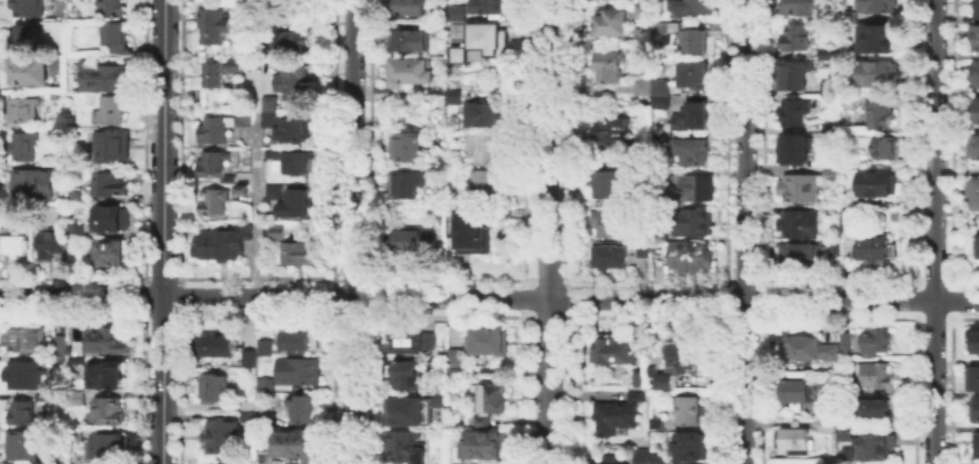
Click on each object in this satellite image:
building: (488, 7)
building: (696, 7)
building: (879, 7)
building: (32, 8)
building: (409, 8)
building: (806, 8)
building: (114, 9)
building: (647, 9)
building: (977, 10)
building: (459, 16)
building: (214, 24)
building: (613, 26)
building: (659, 26)
building: (674, 26)
building: (879, 37)
building: (661, 38)
building: (26, 39)
building: (289, 39)
building: (488, 39)
building: (976, 39)
building: (121, 40)
building: (798, 40)
building: (261, 42)
building: (410, 42)
building: (698, 43)
building: (829, 55)
building: (460, 56)
building: (220, 69)
building: (611, 69)
building: (975, 72)
building: (30, 73)
building: (414, 74)
building: (794, 76)
building: (878, 76)
building: (109, 78)
building: (292, 78)
building: (697, 78)
building: (827, 86)
building: (383, 90)
building: (656, 92)
building: (459, 98)
building: (411, 100)
building: (270, 101)
building: (113, 111)
building: (26, 112)
building: (795, 112)
building: (881, 116)
building: (244, 117)
building: (485, 117)
building: (978, 117)
building: (693, 120)
building: (287, 125)
building: (216, 127)
building: (614, 132)
building: (667, 136)
building: (489, 147)
building: (882, 147)
building: (26, 148)
building: (114, 148)
building: (409, 149)
building: (976, 150)
building: (273, 151)
building: (796, 151)
building: (694, 155)
building: (296, 159)
building: (215, 164)
road: (256, 176)
building: (834, 176)
building: (408, 185)
building: (38, 186)
building: (115, 186)
building: (492, 186)
building: (240, 187)
building: (882, 187)
building: (274, 190)
building: (610, 190)
building: (695, 190)
building: (801, 190)
building: (79, 195)
building: (975, 196)
building: (214, 199)
building: (295, 202)
building: (845, 220)
building: (116, 221)
building: (695, 222)
building: (614, 226)
building: (803, 226)
building: (851, 227)
building: (277, 228)
building: (79, 231)
road: (352, 231)
road: (548, 231)
road: (934, 231)
road: (163, 232)
road: (746, 232)
building: (476, 233)
building: (222, 241)
building: (410, 241)
building: (51, 245)
building: (16, 247)
building: (879, 249)
building: (976, 249)
building: (641, 250)
building: (299, 251)
building: (647, 252)
building: (112, 253)
building: (838, 254)
building: (693, 257)
building: (611, 258)
building: (803, 258)
road: (489, 297)
building: (23, 337)
building: (297, 338)
building: (102, 339)
building: (408, 339)
building: (972, 339)
building: (492, 341)
building: (58, 342)
building: (879, 343)
building: (215, 344)
building: (264, 345)
building: (847, 345)
building: (69, 349)
building: (611, 349)
building: (804, 351)
building: (832, 354)
building: (248, 356)
building: (684, 357)
building: (58, 358)
building: (77, 358)
building: (457, 359)
building: (297, 369)
building: (650, 369)
building: (22, 372)
building: (103, 373)
building: (405, 373)
building: (879, 375)
building: (638, 377)
building: (972, 377)
building: (664, 379)
building: (264, 383)
building: (211, 385)
building: (797, 393)
building: (42, 394)
building: (75, 396)
building: (495, 396)
building: (438, 397)
building: (248, 403)
building: (303, 407)
building: (974, 407)
building: (689, 408)
building: (105, 409)
building: (408, 409)
building: (827, 409)
building: (619, 411)
building: (22, 412)
building: (877, 412)
building: (247, 415)
building: (265, 415)
building: (656, 421)
building: (483, 423)
building: (830, 428)
building: (844, 433)
building: (220, 435)
building: (796, 440)
building: (28, 443)
building: (105, 443)
building: (294, 443)
building: (977, 443)
building: (404, 445)
building: (690, 445)
building: (485, 446)
building: (878, 450)
building: (641, 455)
building: (263, 456)
building: (656, 457)
building: (60, 459)
building: (609, 459)

